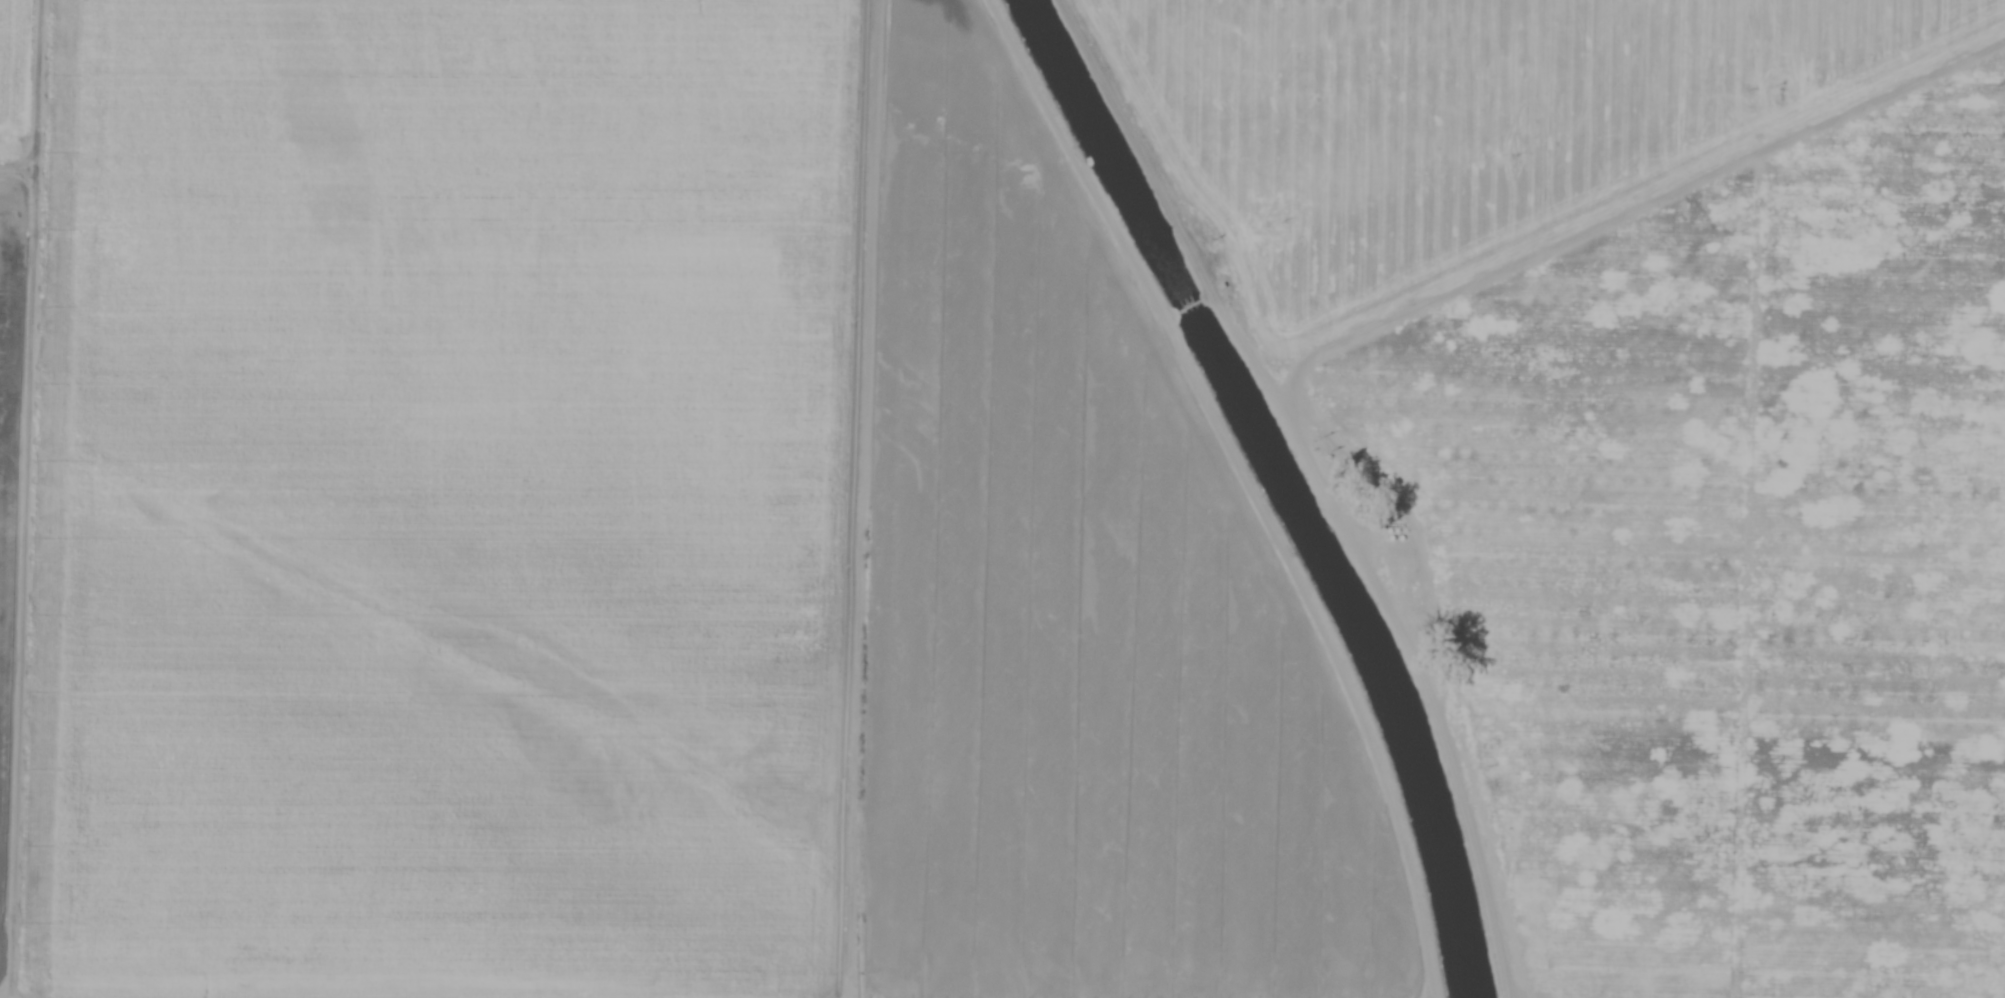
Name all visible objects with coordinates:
road: (1764, 57)
road: (1321, 484)
crop: (956, 527)

